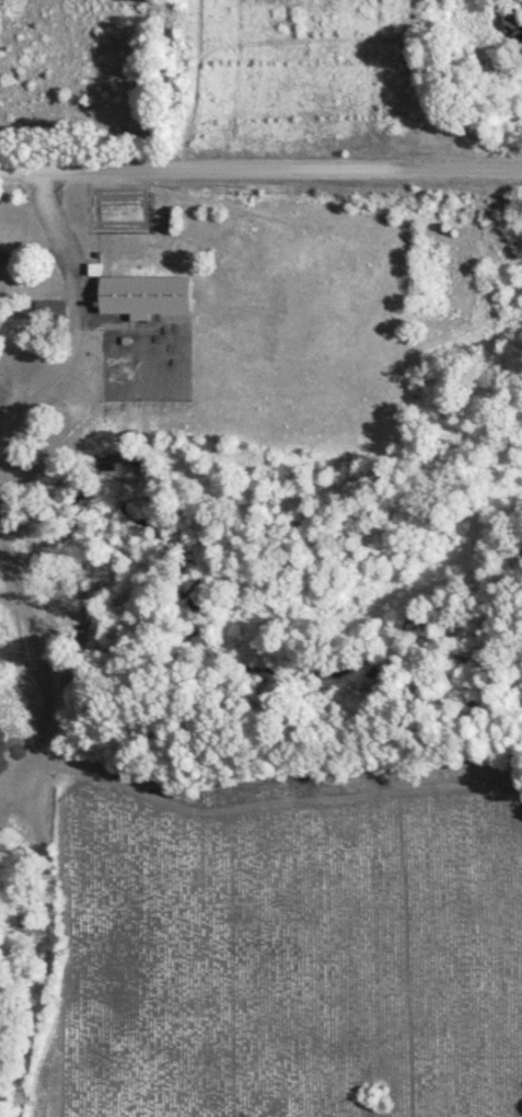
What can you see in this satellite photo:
road: (260, 167)

